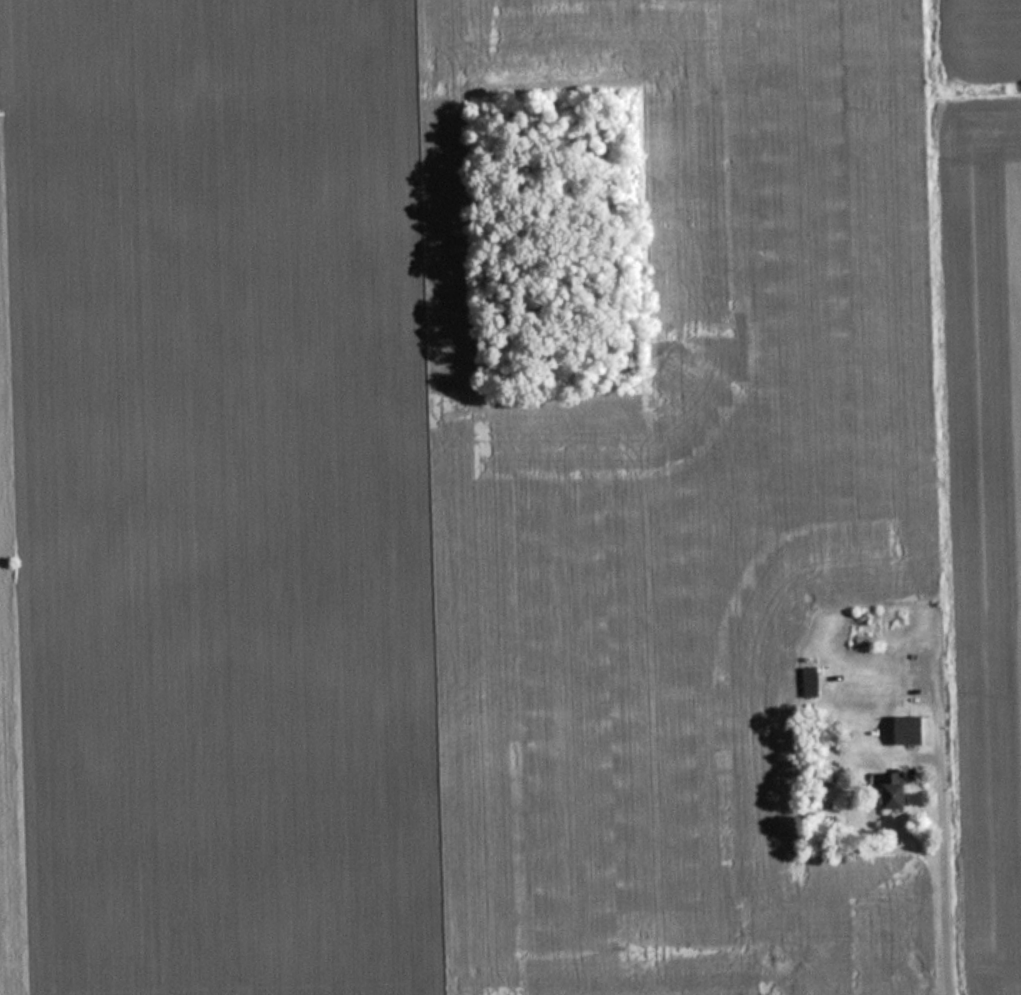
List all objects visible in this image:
building: (812, 681)
building: (911, 728)
building: (891, 789)
road: (929, 902)

